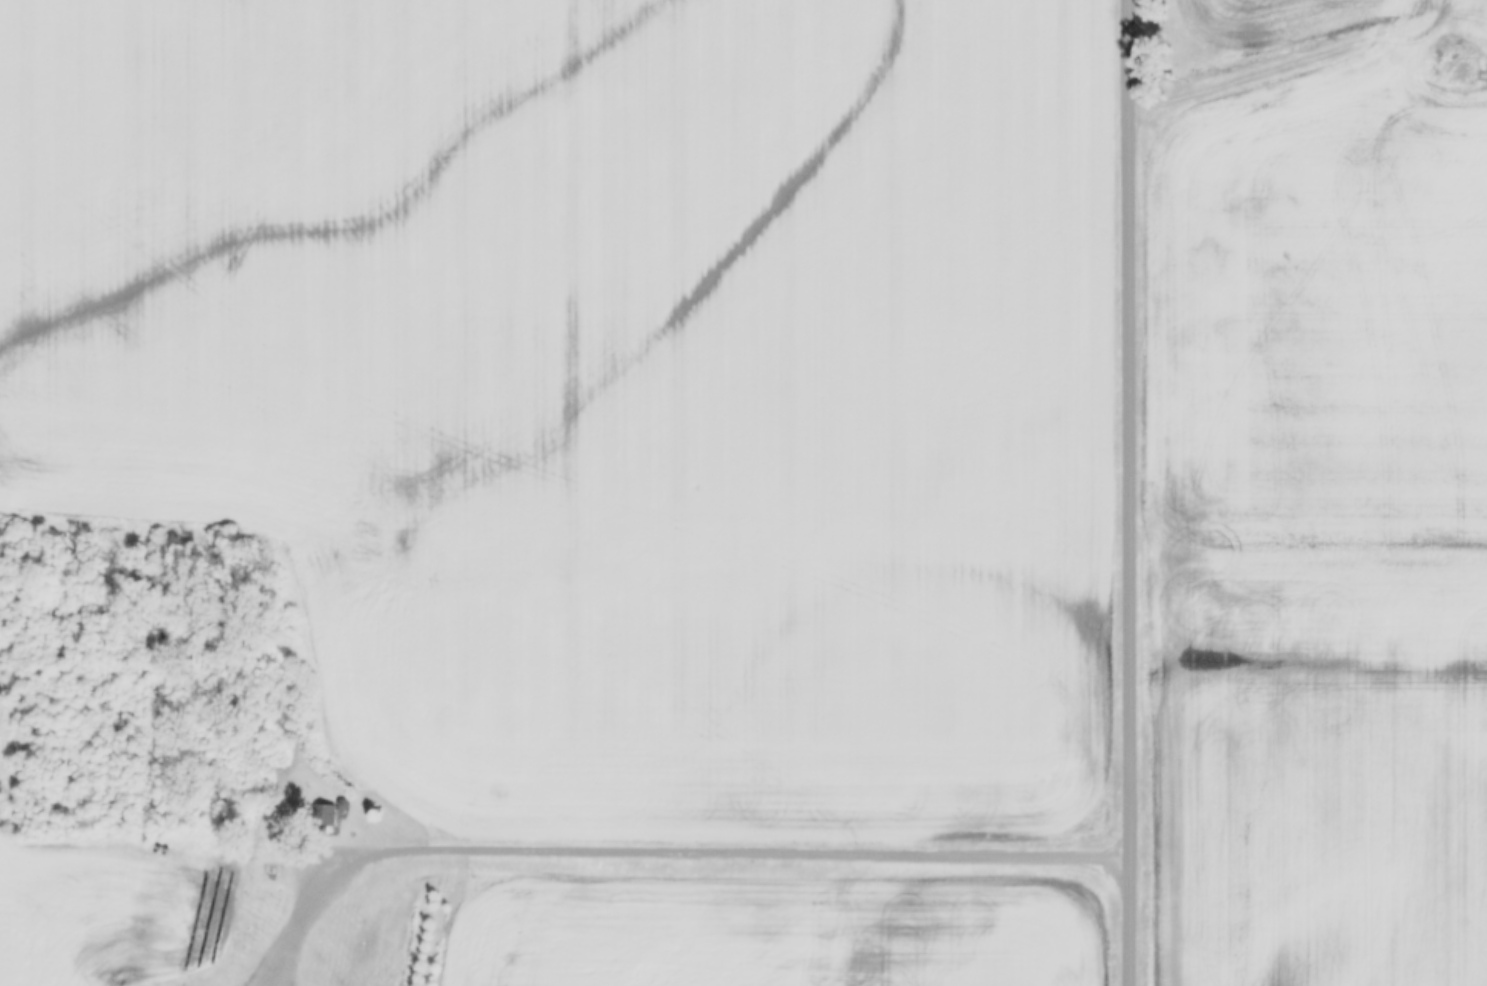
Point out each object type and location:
road: (1305, 54)
road: (1134, 492)
building: (336, 814)
road: (666, 852)

